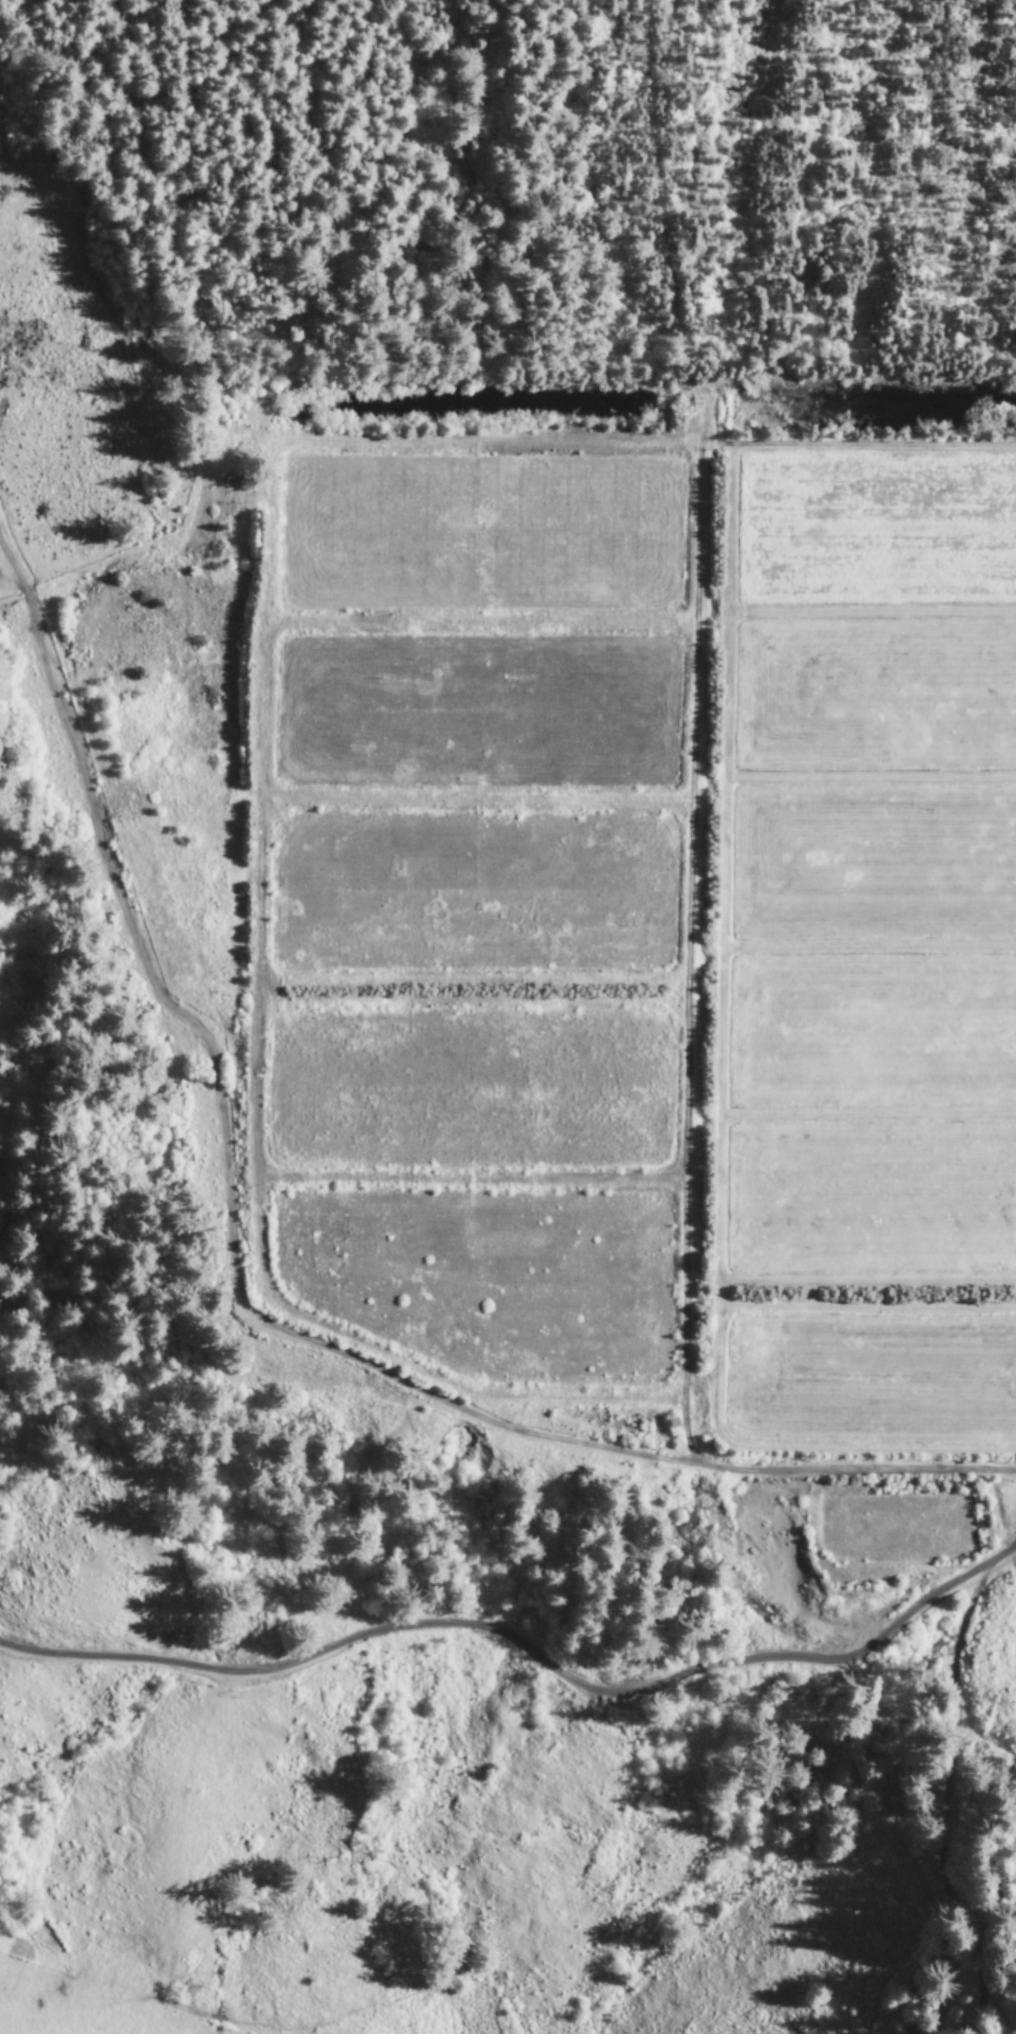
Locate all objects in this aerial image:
crop: (875, 532)
crop: (478, 534)
crop: (875, 697)
crop: (476, 713)
crop: (873, 863)
crop: (471, 895)
crop: (870, 1033)
crop: (468, 1089)
crop: (870, 1202)
crop: (485, 1281)
road: (243, 1301)
crop: (871, 1382)
crop: (895, 1528)
road: (525, 1647)

